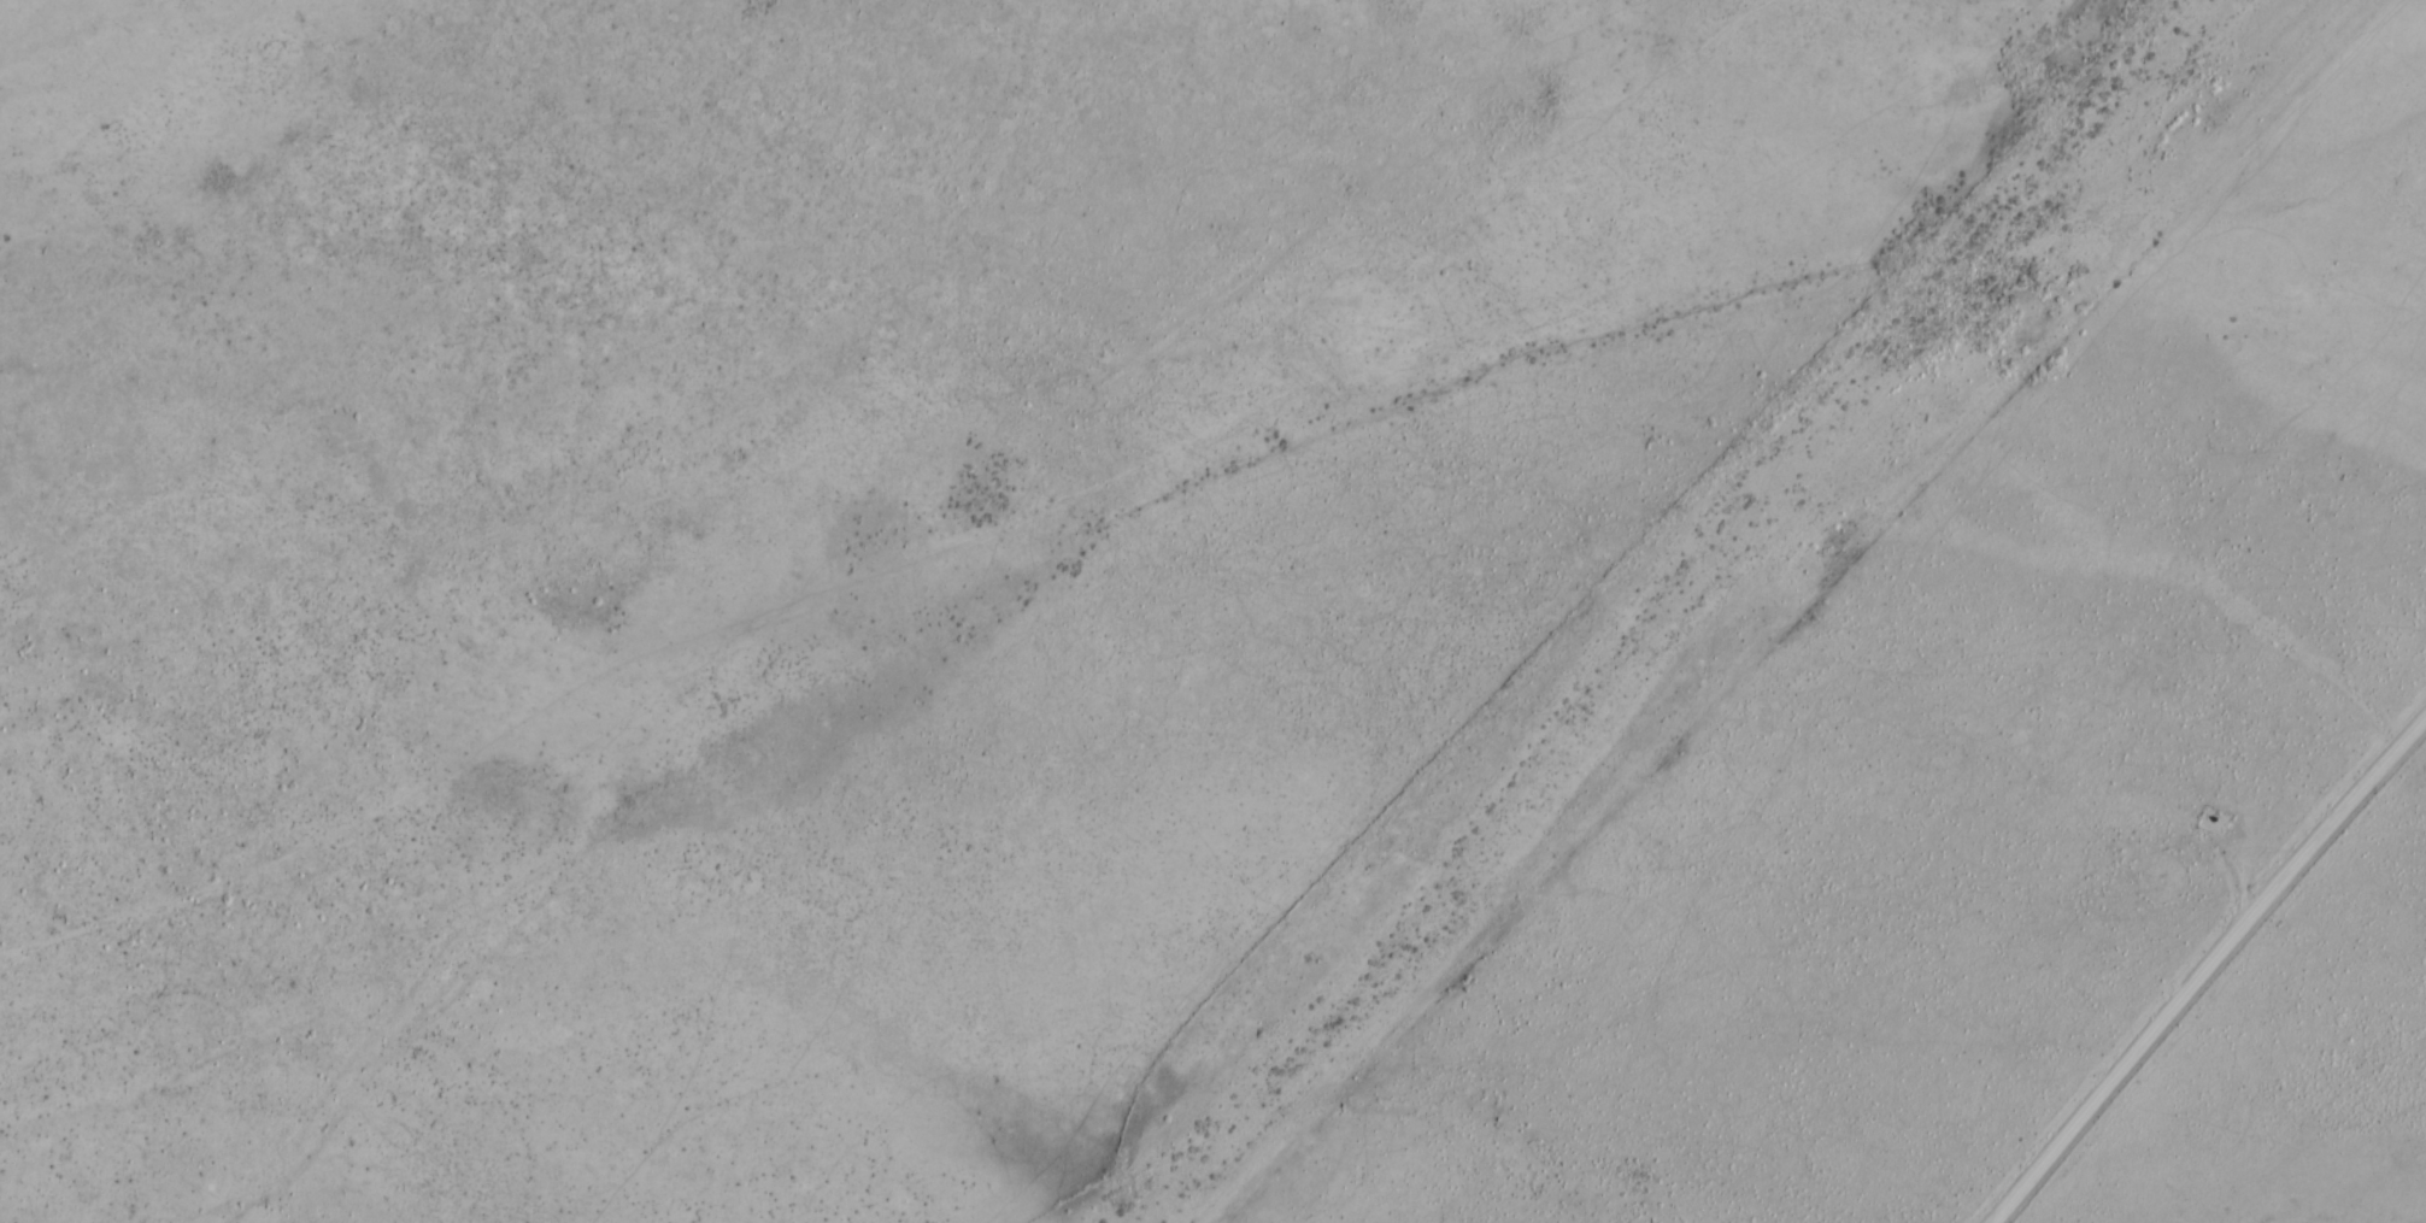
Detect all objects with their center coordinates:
road: (2203, 965)

